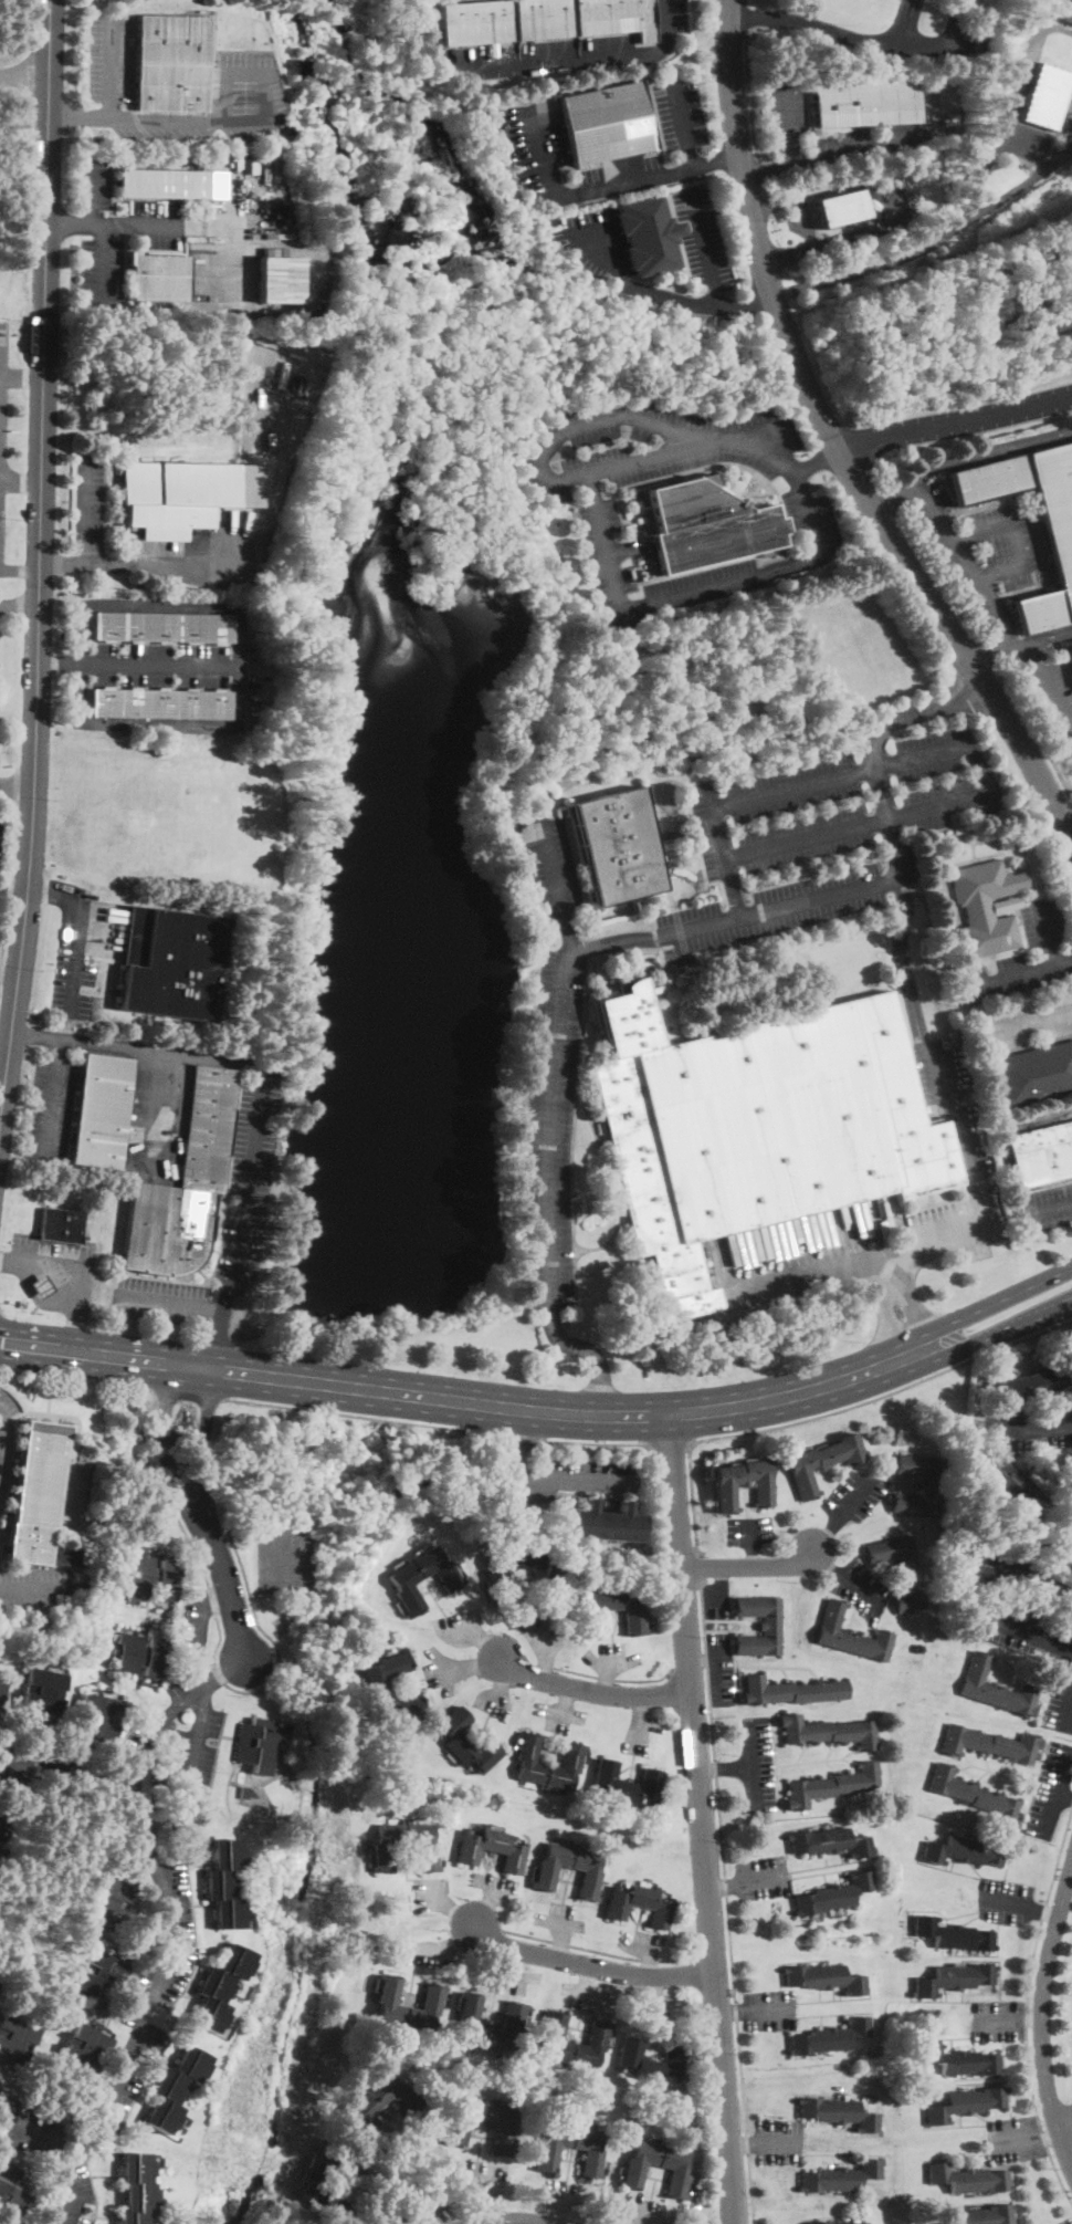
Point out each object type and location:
building: (924, 0)
road: (746, 17)
parking lot: (672, 19)
building: (543, 20)
road: (861, 40)
parking lot: (111, 58)
road: (537, 62)
building: (169, 63)
road: (115, 71)
road: (24, 75)
parking lot: (243, 85)
road: (749, 94)
building: (1048, 94)
building: (868, 104)
parking lot: (680, 109)
road: (81, 118)
road: (260, 121)
road: (682, 121)
building: (606, 123)
parking lot: (796, 130)
road: (1027, 148)
parking lot: (534, 149)
road: (832, 156)
building: (209, 160)
building: (249, 161)
road: (769, 168)
road: (981, 177)
parking lot: (96, 180)
building: (162, 184)
road: (596, 187)
road: (1012, 190)
building: (873, 194)
road: (797, 202)
building: (841, 208)
parking lot: (156, 223)
road: (69, 227)
road: (164, 228)
building: (647, 233)
parking lot: (702, 238)
parking lot: (593, 240)
road: (677, 240)
road: (835, 240)
road: (705, 247)
parking lot: (102, 260)
road: (873, 264)
road: (103, 265)
building: (158, 276)
parking lot: (220, 276)
building: (278, 280)
road: (668, 284)
road: (737, 288)
road: (715, 289)
road: (669, 294)
road: (21, 379)
road: (955, 421)
road: (574, 425)
parking lot: (2, 426)
road: (835, 442)
parking lot: (655, 447)
road: (964, 455)
road: (816, 459)
road: (820, 481)
road: (20, 484)
building: (183, 494)
parking lot: (90, 502)
road: (90, 511)
building: (707, 524)
road: (1015, 533)
building: (1060, 549)
parking lot: (980, 551)
parking lot: (819, 555)
road: (965, 558)
road: (39, 565)
road: (174, 566)
road: (19, 567)
road: (64, 567)
road: (692, 589)
road: (19, 607)
building: (161, 627)
building: (1071, 641)
road: (1018, 644)
building: (1071, 646)
road: (60, 664)
road: (161, 666)
road: (1047, 683)
parking lot: (1051, 697)
building: (161, 703)
road: (911, 708)
road: (239, 727)
road: (1034, 731)
road: (1061, 759)
road: (17, 785)
parking lot: (0, 821)
road: (1068, 821)
parking lot: (831, 824)
road: (828, 829)
building: (618, 847)
parking lot: (550, 864)
road: (9, 891)
road: (13, 892)
road: (837, 894)
road: (55, 895)
building: (985, 906)
parking lot: (692, 928)
road: (589, 944)
parking lot: (1052, 951)
parking lot: (73, 957)
road: (77, 958)
road: (1063, 960)
building: (171, 963)
road: (1039, 967)
road: (9, 974)
road: (1029, 1020)
parking lot: (1026, 1023)
road: (35, 1033)
road: (3, 1066)
building: (1033, 1075)
road: (261, 1086)
road: (51, 1098)
parking lot: (50, 1109)
building: (101, 1111)
building: (757, 1125)
road: (546, 1127)
parking lot: (550, 1127)
road: (966, 1142)
building: (1042, 1153)
parking lot: (978, 1173)
parking lot: (249, 1178)
building: (185, 1184)
road: (1047, 1205)
parking lot: (1045, 1207)
building: (61, 1223)
parking lot: (52, 1251)
road: (67, 1277)
building: (41, 1287)
parking lot: (159, 1299)
road: (170, 1301)
road: (992, 1303)
road: (998, 1334)
road: (219, 1339)
road: (588, 1349)
road: (75, 1380)
building: (1033, 1384)
road: (186, 1395)
road: (465, 1400)
road: (829, 1412)
road: (356, 1417)
parking lot: (1029, 1427)
road: (1039, 1430)
road: (501, 1432)
road: (534, 1434)
road: (1, 1435)
parking lot: (4, 1437)
road: (517, 1438)
road: (601, 1443)
road: (670, 1443)
road: (203, 1445)
road: (162, 1449)
building: (821, 1463)
road: (515, 1470)
building: (1070, 1472)
parking lot: (566, 1476)
road: (572, 1479)
building: (743, 1484)
building: (918, 1484)
building: (1010, 1485)
building: (36, 1492)
parking lot: (853, 1495)
road: (854, 1500)
building: (599, 1521)
parking lot: (748, 1529)
road: (752, 1535)
road: (826, 1536)
building: (62, 1554)
road: (752, 1557)
road: (828, 1563)
road: (749, 1566)
building: (991, 1566)
road: (702, 1567)
building: (900, 1570)
building: (153, 1577)
building: (544, 1577)
road: (718, 1581)
building: (403, 1583)
building: (1055, 1583)
road: (35, 1586)
parking lot: (860, 1586)
parking lot: (34, 1587)
building: (82, 1588)
road: (228, 1590)
road: (861, 1591)
road: (716, 1597)
building: (77, 1598)
parking lot: (716, 1598)
road: (217, 1601)
building: (633, 1620)
building: (38, 1622)
building: (759, 1625)
road: (200, 1629)
road: (1028, 1632)
parking lot: (1026, 1633)
building: (850, 1635)
road: (216, 1647)
building: (140, 1656)
road: (703, 1662)
road: (469, 1666)
road: (690, 1668)
parking lot: (721, 1668)
road: (221, 1673)
road: (717, 1674)
road: (606, 1677)
building: (379, 1683)
building: (0, 1687)
building: (995, 1688)
building: (791, 1690)
building: (42, 1691)
road: (592, 1691)
parking lot: (1060, 1708)
building: (96, 1717)
road: (1068, 1717)
road: (1069, 1725)
road: (154, 1730)
building: (828, 1731)
building: (466, 1742)
building: (260, 1744)
building: (989, 1744)
building: (571, 1761)
parking lot: (757, 1763)
road: (753, 1764)
road: (725, 1767)
road: (191, 1768)
building: (627, 1783)
building: (832, 1784)
parking lot: (1050, 1789)
building: (246, 1793)
road: (1058, 1793)
road: (1065, 1794)
building: (975, 1795)
building: (1, 1816)
road: (701, 1818)
building: (831, 1841)
building: (493, 1849)
building: (964, 1851)
building: (428, 1856)
building: (547, 1872)
parking lot: (761, 1877)
road: (763, 1878)
building: (224, 1883)
road: (723, 1886)
building: (834, 1893)
building: (107, 1899)
parking lot: (1003, 1899)
road: (728, 1900)
road: (1013, 1902)
building: (640, 1904)
road: (446, 1905)
road: (1051, 1912)
building: (953, 1935)
road: (171, 1945)
road: (598, 1952)
road: (713, 1955)
road: (587, 1964)
building: (98, 1975)
building: (824, 1978)
building: (954, 1978)
building: (220, 1987)
building: (431, 2003)
road: (1024, 2003)
parking lot: (769, 2008)
road: (769, 2011)
road: (731, 2012)
road: (1043, 2018)
parking lot: (997, 2019)
road: (999, 2022)
road: (1033, 2022)
building: (490, 2023)
building: (830, 2036)
building: (14, 2039)
building: (598, 2039)
building: (85, 2048)
building: (959, 2060)
building: (651, 2063)
building: (174, 2088)
building: (966, 2103)
building: (366, 2106)
building: (838, 2112)
building: (459, 2128)
parking lot: (1013, 2138)
road: (1034, 2138)
parking lot: (778, 2140)
road: (778, 2142)
road: (742, 2143)
building: (571, 2149)
building: (658, 2168)
road: (434, 2171)
building: (840, 2176)
building: (968, 2179)
road: (67, 2180)
building: (329, 2180)
building: (13, 2186)
building: (136, 2189)
parking lot: (76, 2197)
building: (986, 2215)
road: (511, 2220)
parking lot: (1064, 2220)
building: (834, 2222)

